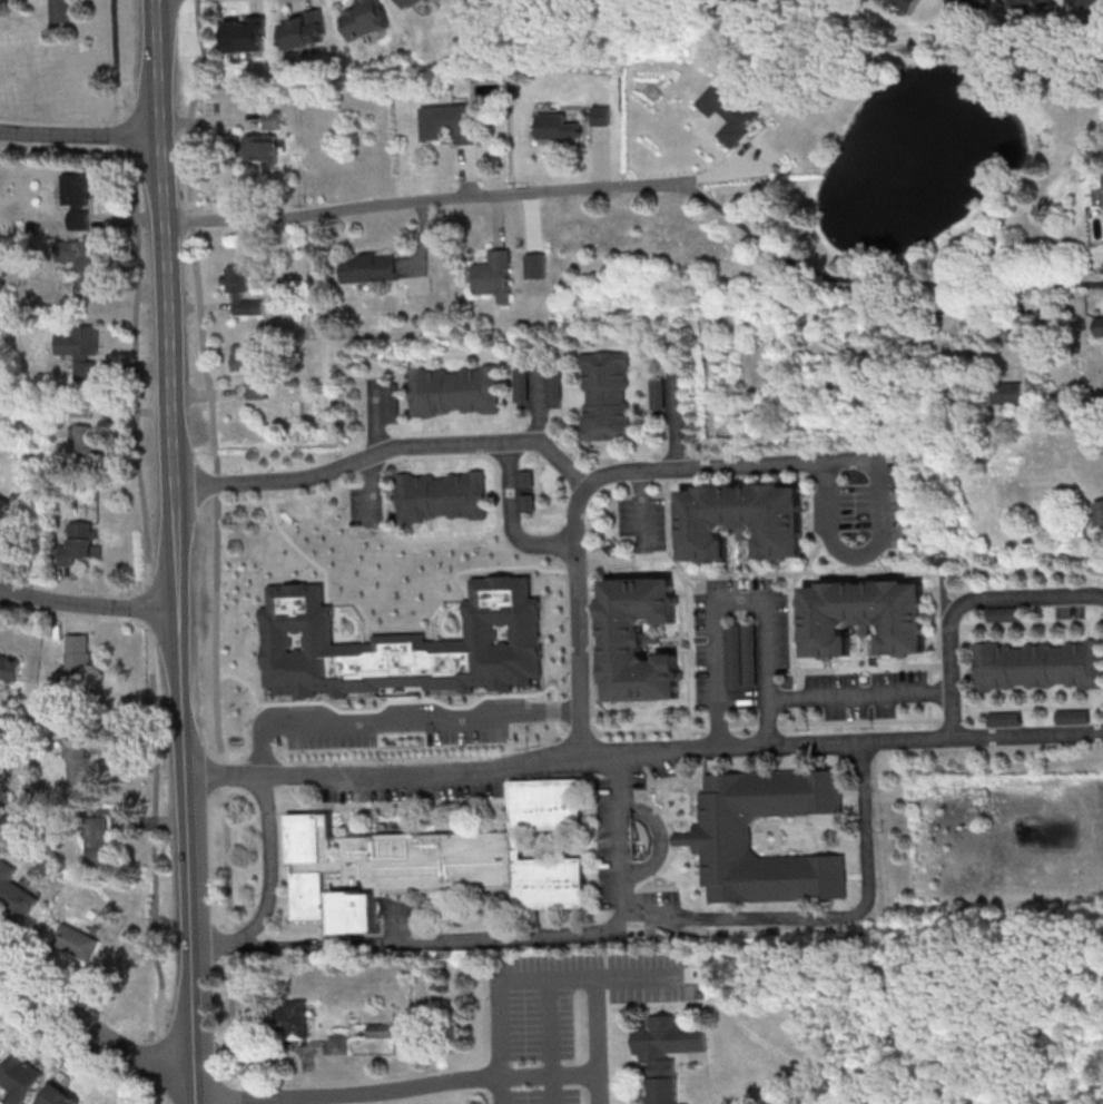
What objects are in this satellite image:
building: (1030, 3)
building: (1090, 3)
building: (412, 4)
building: (904, 4)
building: (971, 7)
building: (59, 11)
building: (363, 20)
building: (303, 31)
building: (244, 36)
building: (726, 114)
building: (599, 117)
building: (449, 124)
building: (555, 128)
road: (79, 135)
building: (258, 147)
building: (1102, 175)
road: (424, 198)
building: (78, 201)
building: (80, 264)
building: (368, 268)
building: (494, 275)
building: (240, 292)
building: (1100, 326)
building: (80, 349)
building: (250, 369)
building: (454, 391)
building: (1001, 394)
building: (605, 396)
road: (539, 400)
road: (380, 414)
road: (678, 416)
building: (85, 440)
road: (388, 448)
road: (600, 475)
building: (443, 496)
building: (1099, 512)
building: (8, 516)
road: (513, 519)
building: (739, 519)
road: (177, 542)
building: (80, 544)
road: (218, 549)
road: (144, 551)
road: (850, 551)
road: (3, 591)
road: (740, 598)
road: (964, 601)
road: (88, 603)
building: (865, 617)
building: (637, 640)
building: (740, 655)
building: (1040, 666)
building: (10, 668)
building: (75, 686)
road: (863, 694)
road: (401, 720)
road: (1030, 733)
road: (770, 743)
building: (77, 761)
road: (385, 773)
road: (661, 838)
building: (712, 840)
building: (96, 841)
building: (434, 865)
road: (270, 887)
building: (14, 894)
road: (750, 918)
road: (431, 940)
building: (73, 945)
road: (631, 977)
road: (564, 980)
road: (53, 997)
building: (295, 1019)
building: (382, 1031)
road: (80, 1034)
building: (341, 1045)
building: (666, 1053)
road: (149, 1063)
road: (548, 1073)
building: (19, 1077)
road: (499, 1088)
road: (195, 1094)
road: (346, 1094)
building: (56, 1096)

